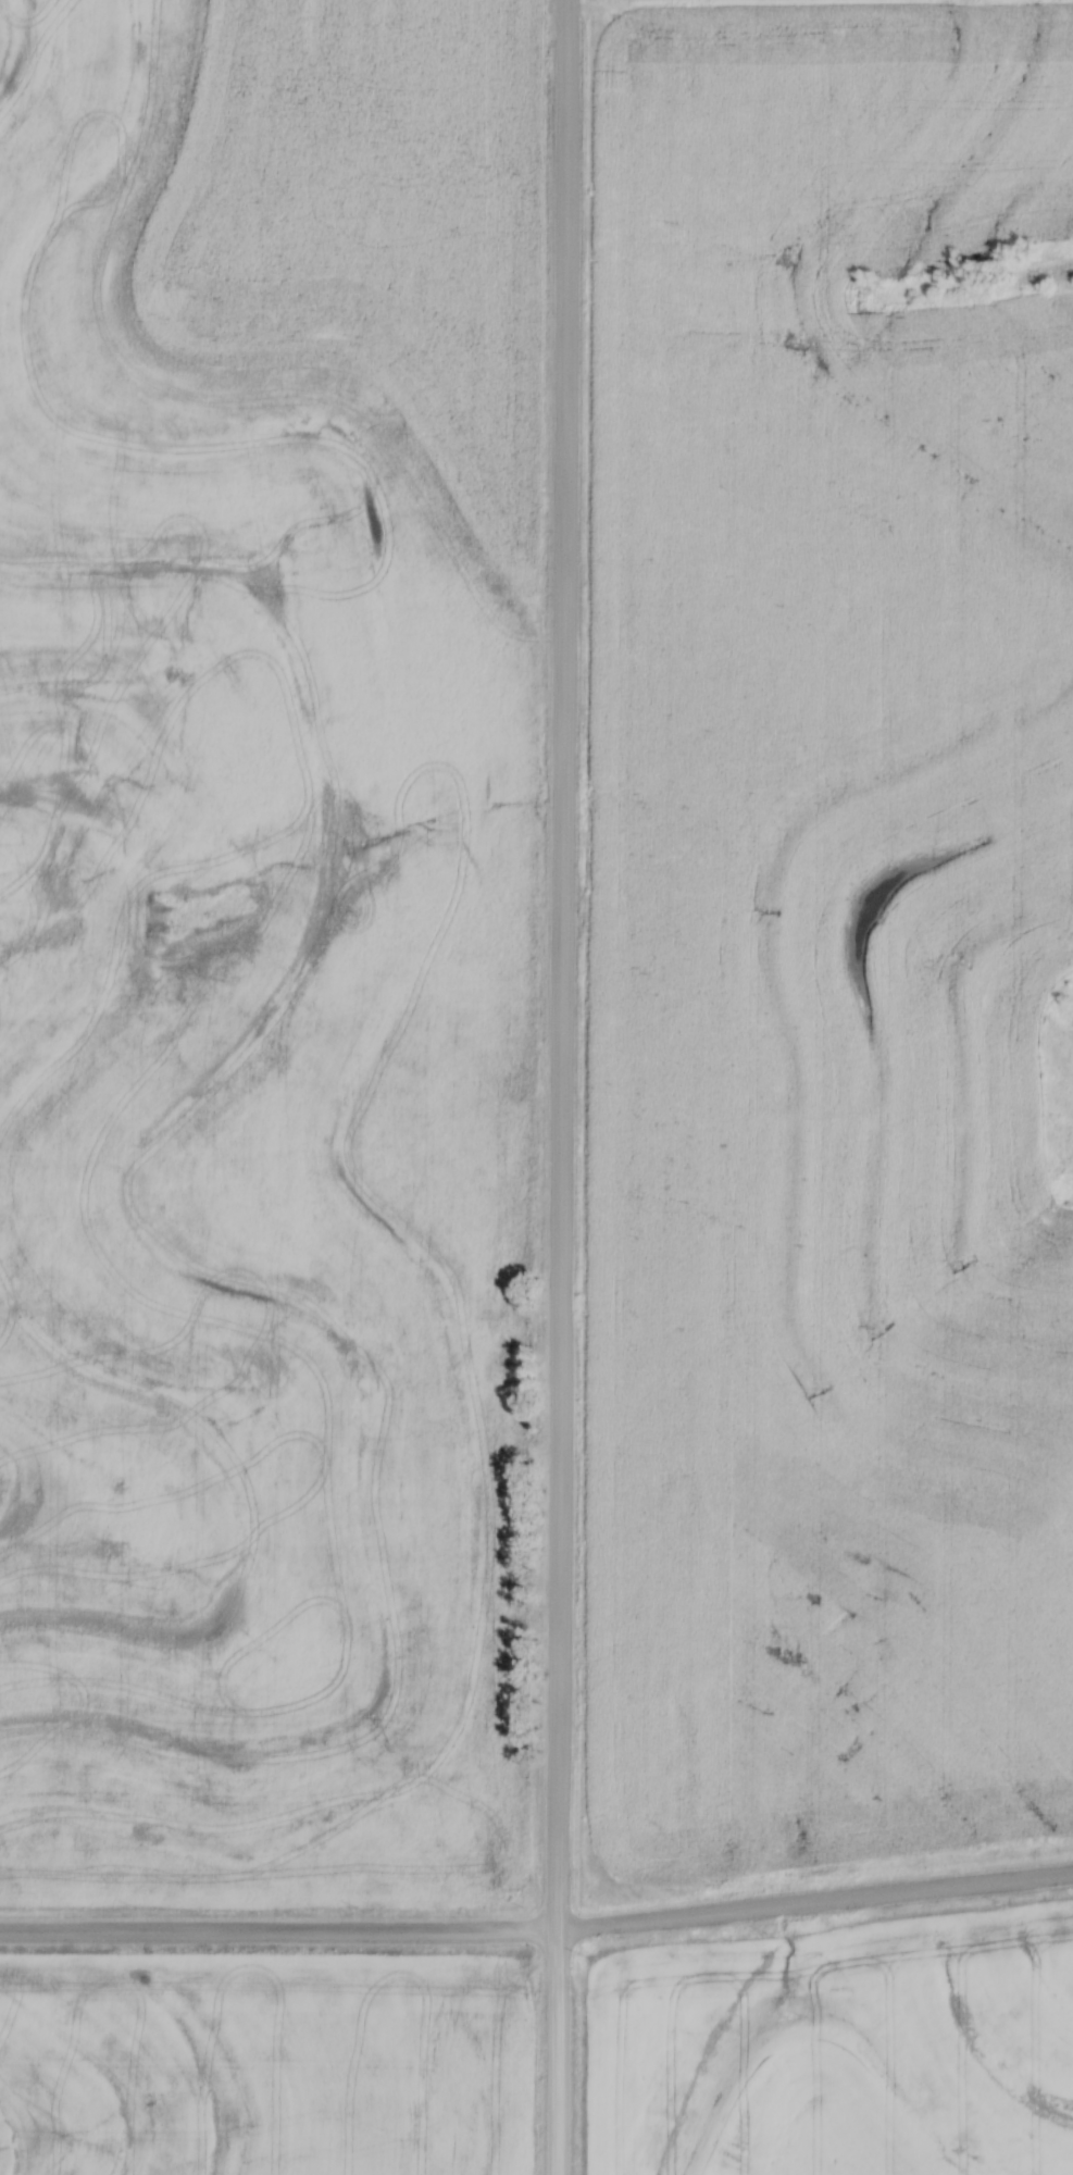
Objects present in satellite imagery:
road: (561, 965)
road: (537, 1929)
road: (557, 2052)

